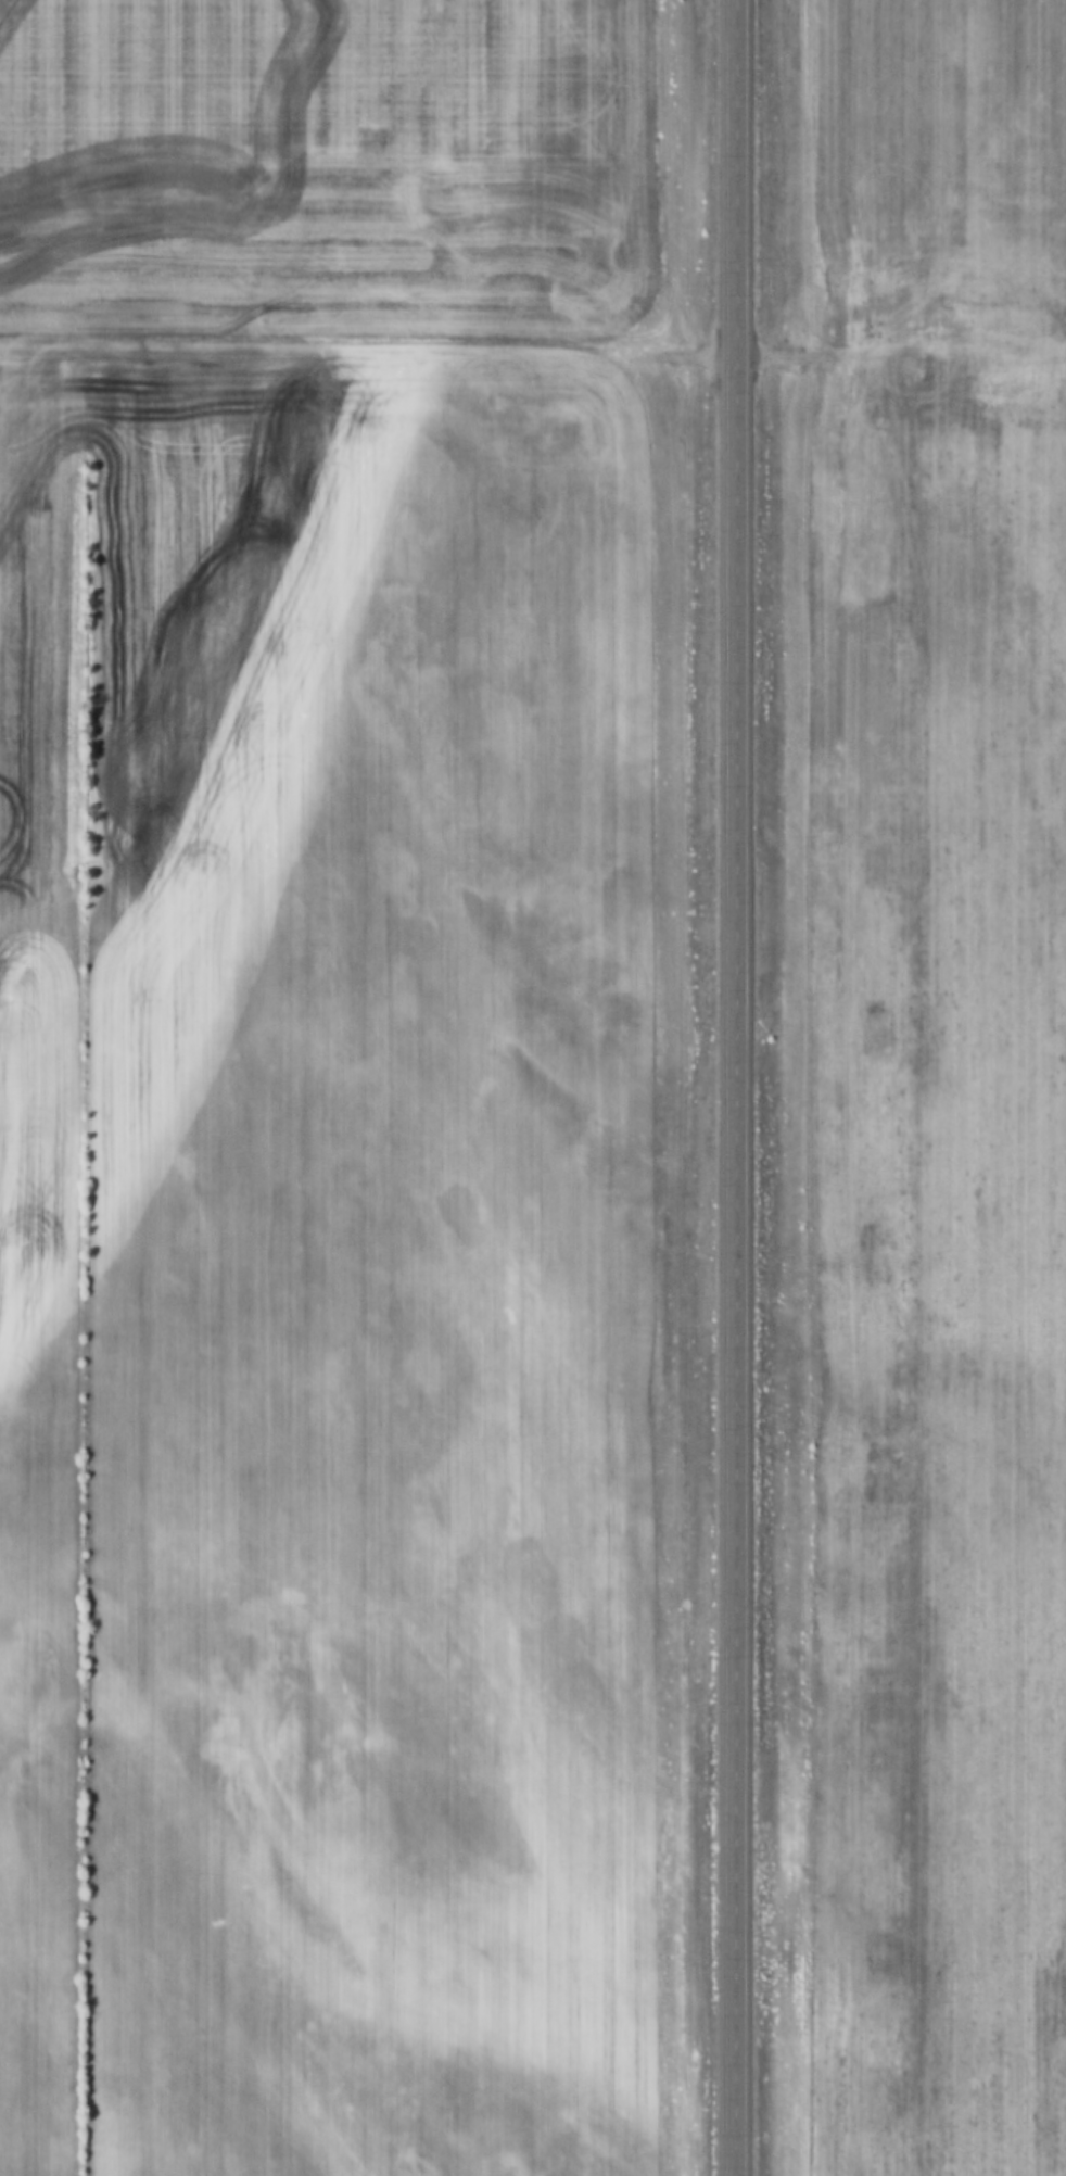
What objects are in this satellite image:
road: (533, 352)
road: (733, 1087)

